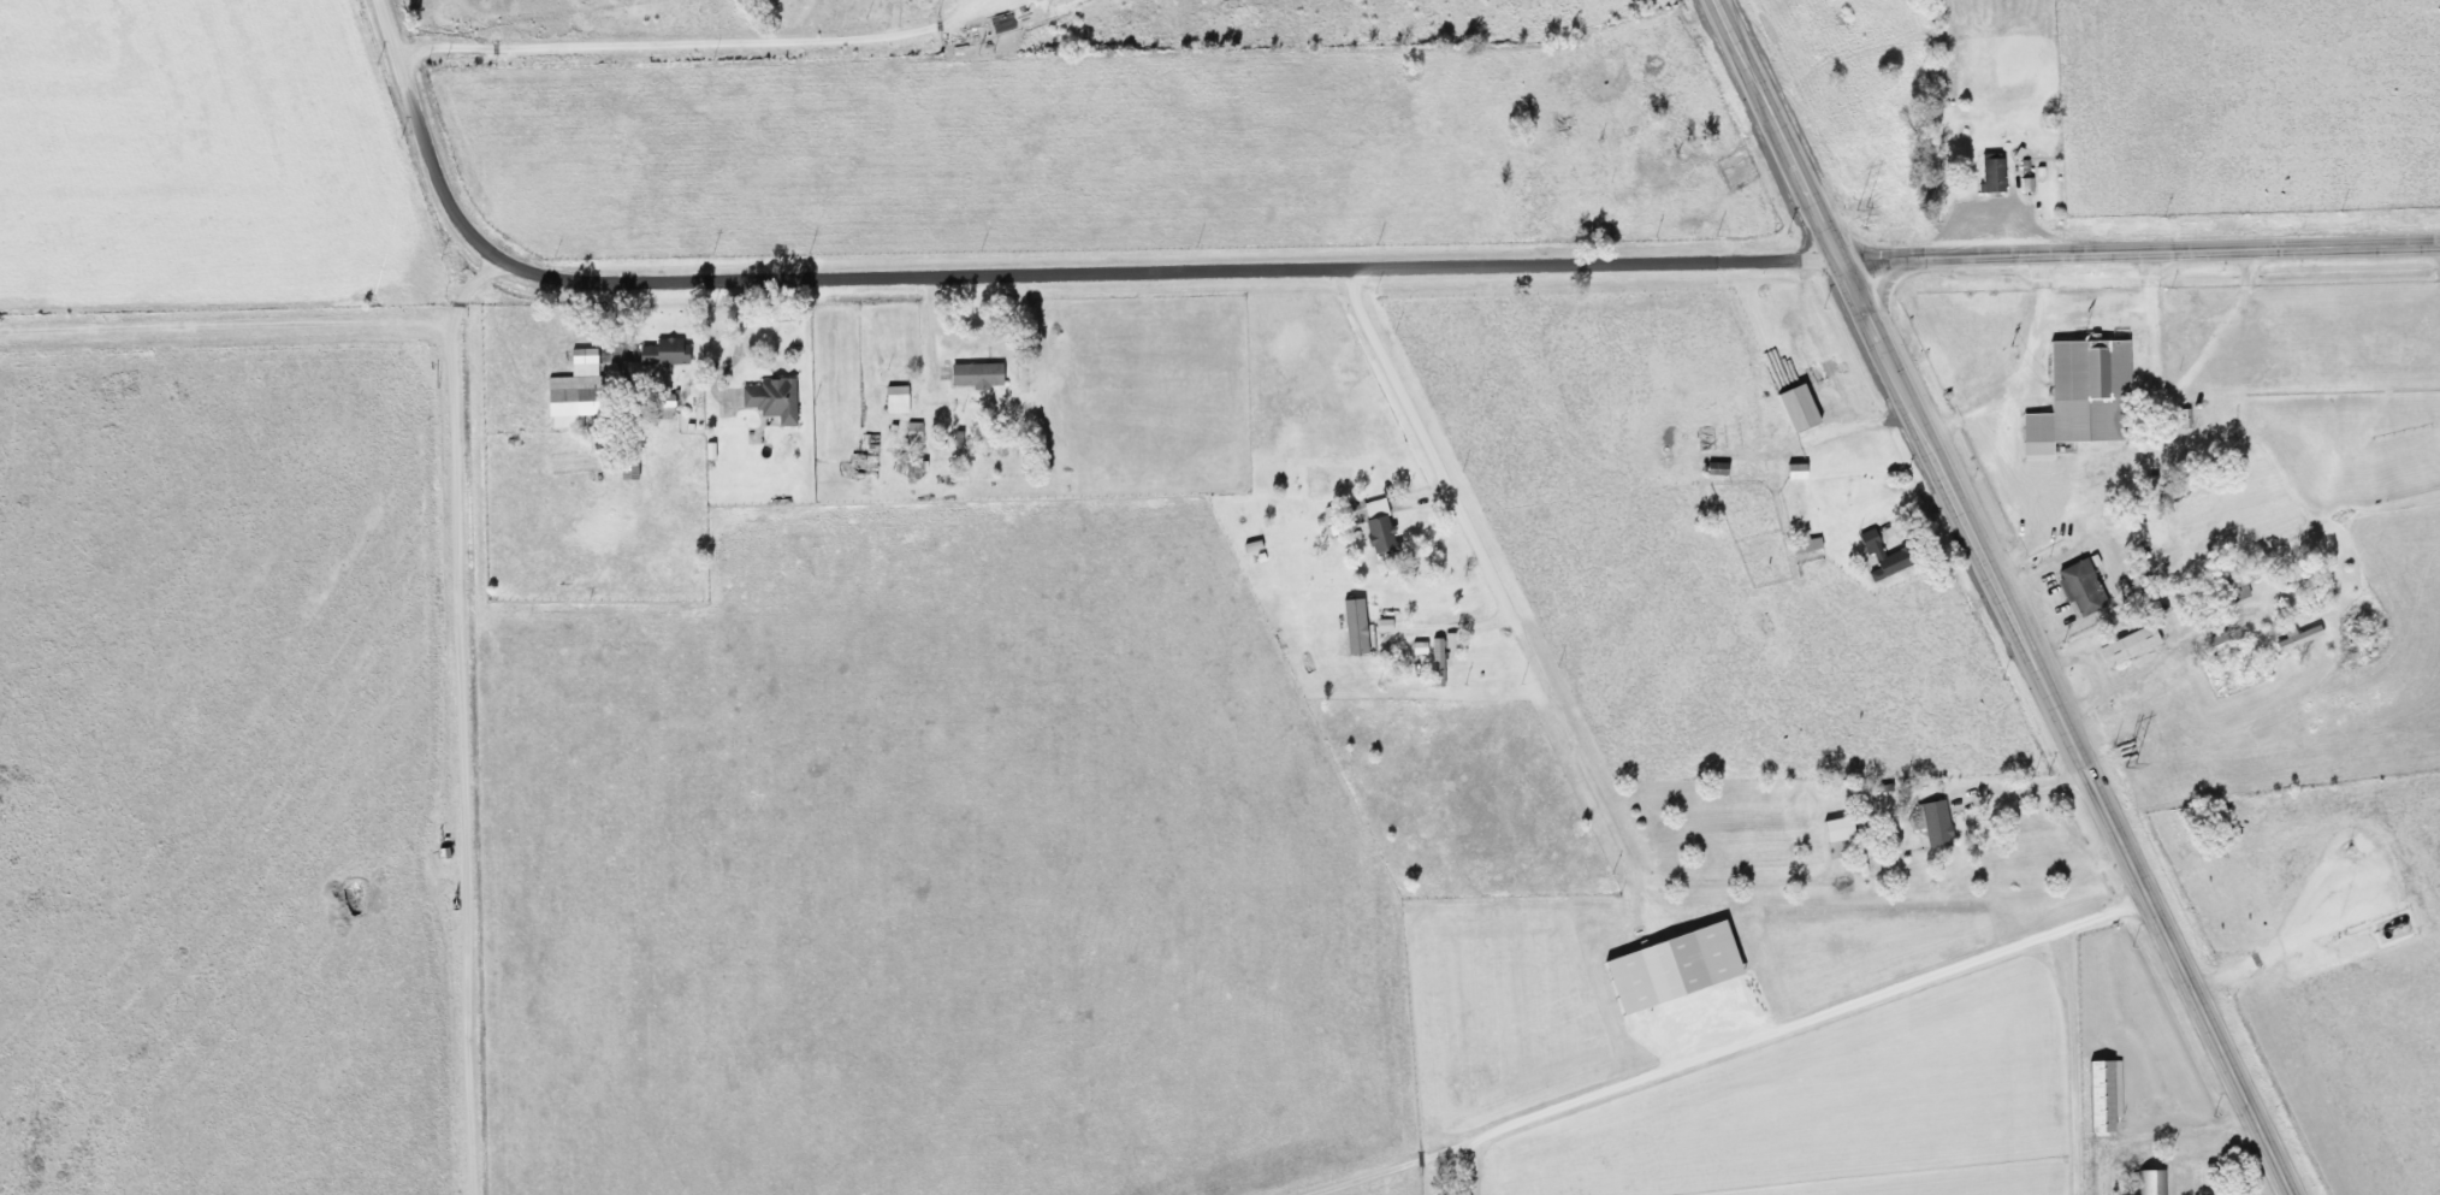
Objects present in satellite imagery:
road: (664, 45)
building: (1989, 172)
power tower: (1859, 209)
road: (2140, 252)
road: (1021, 274)
road: (224, 326)
building: (661, 353)
road: (2023, 368)
building: (972, 375)
building: (573, 392)
building: (2083, 392)
building: (769, 400)
building: (893, 400)
building: (1794, 409)
building: (624, 471)
road: (2032, 496)
building: (1370, 525)
building: (2155, 536)
building: (1879, 557)
building: (2233, 586)
building: (2078, 588)
road: (2004, 597)
building: (2296, 638)
building: (2214, 644)
building: (2125, 646)
road: (2166, 650)
road: (1527, 657)
road: (462, 716)
power tower: (2124, 756)
road: (2037, 791)
building: (1932, 826)
building: (1835, 830)
road: (1782, 1029)
building: (2101, 1096)
road: (1400, 1166)
building: (2149, 1183)

